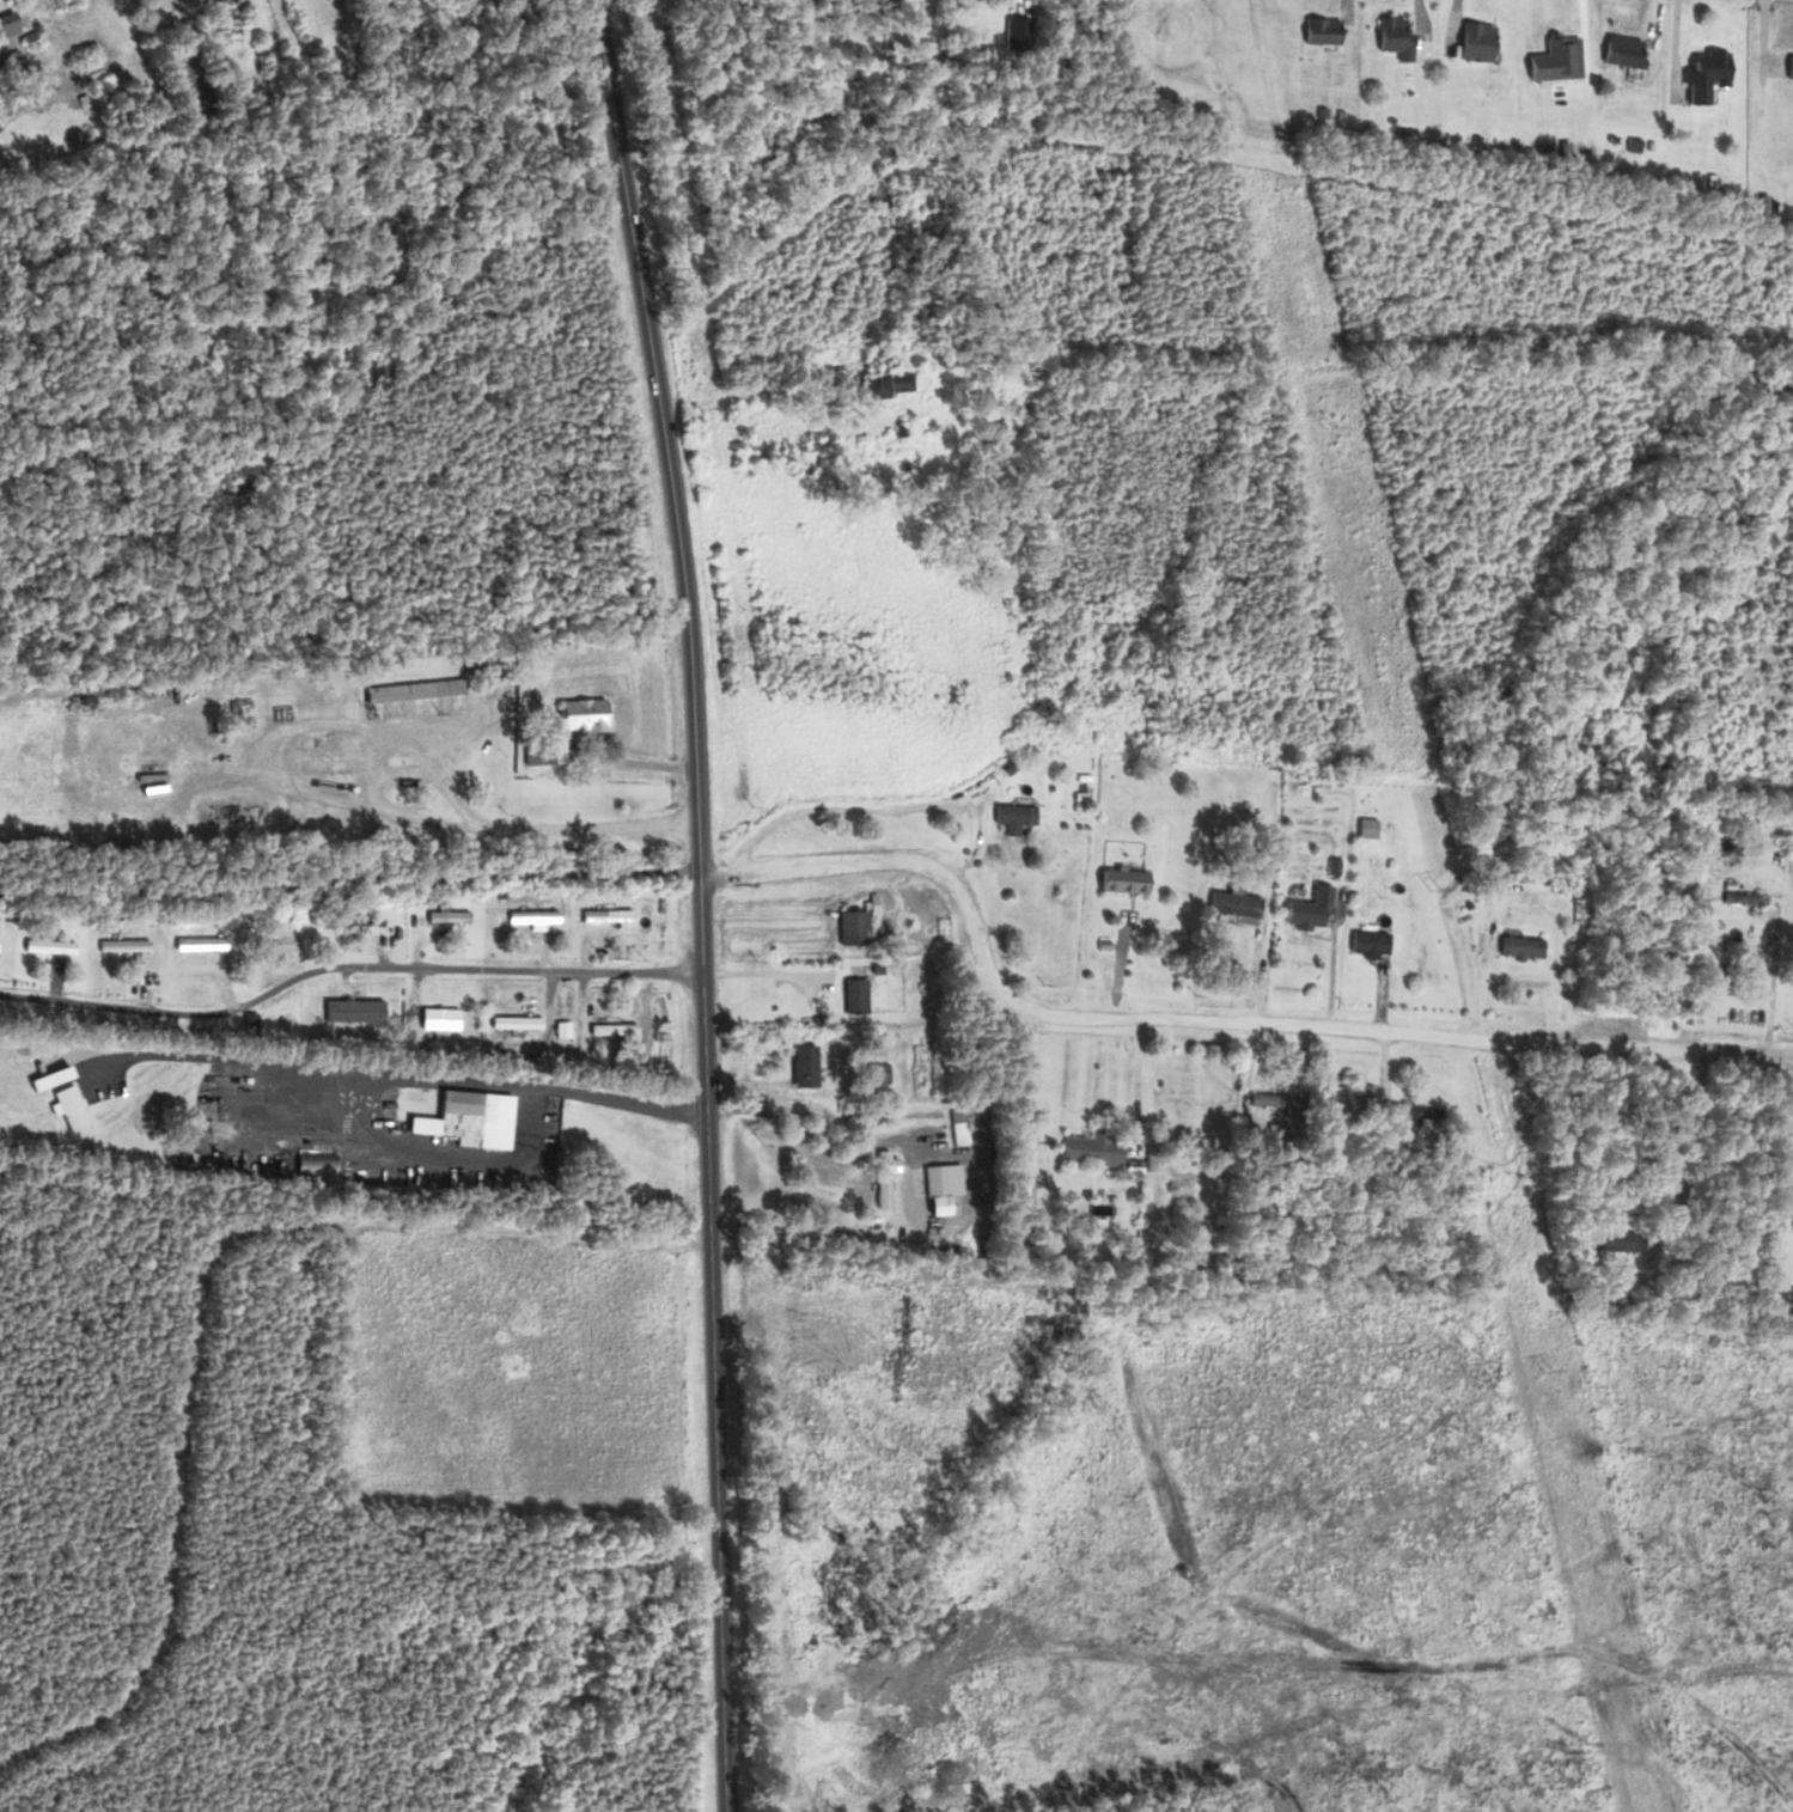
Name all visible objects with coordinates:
building: (6, 24)
building: (1321, 29)
building: (1392, 31)
building: (1474, 39)
building: (1622, 50)
building: (1788, 66)
building: (1703, 72)
building: (878, 382)
power tower: (1329, 427)
building: (410, 697)
building: (237, 712)
building: (578, 714)
building: (538, 749)
building: (1011, 816)
road: (350, 879)
building: (1120, 879)
power tower: (1433, 889)
building: (1742, 897)
road: (703, 902)
building: (1232, 903)
building: (1307, 908)
building: (443, 915)
building: (529, 915)
building: (602, 915)
building: (354, 917)
building: (849, 926)
building: (1367, 940)
building: (194, 942)
building: (45, 945)
building: (118, 945)
building: (1518, 945)
road: (348, 969)
building: (853, 995)
building: (359, 1014)
building: (435, 1017)
road: (1202, 1019)
building: (514, 1021)
building: (608, 1027)
building: (559, 1029)
building: (800, 1066)
building: (873, 1073)
road: (403, 1074)
building: (1273, 1099)
building: (67, 1106)
building: (452, 1112)
building: (957, 1127)
building: (1090, 1149)
building: (309, 1164)
building: (940, 1179)
building: (1786, 1298)
road: (213, 1307)
power tower: (1547, 1368)

